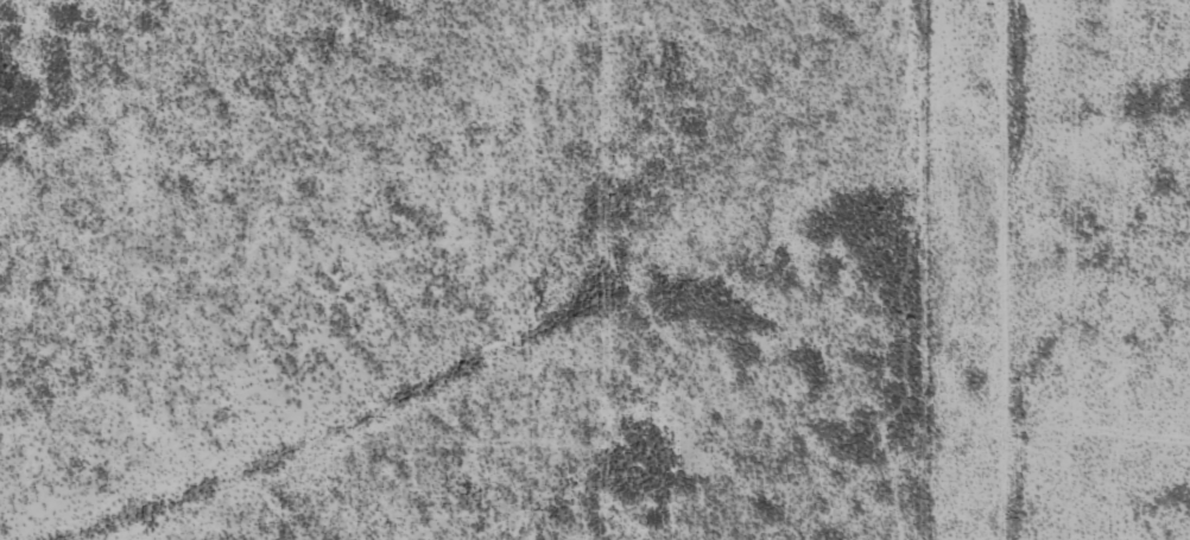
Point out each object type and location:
road: (955, 269)

